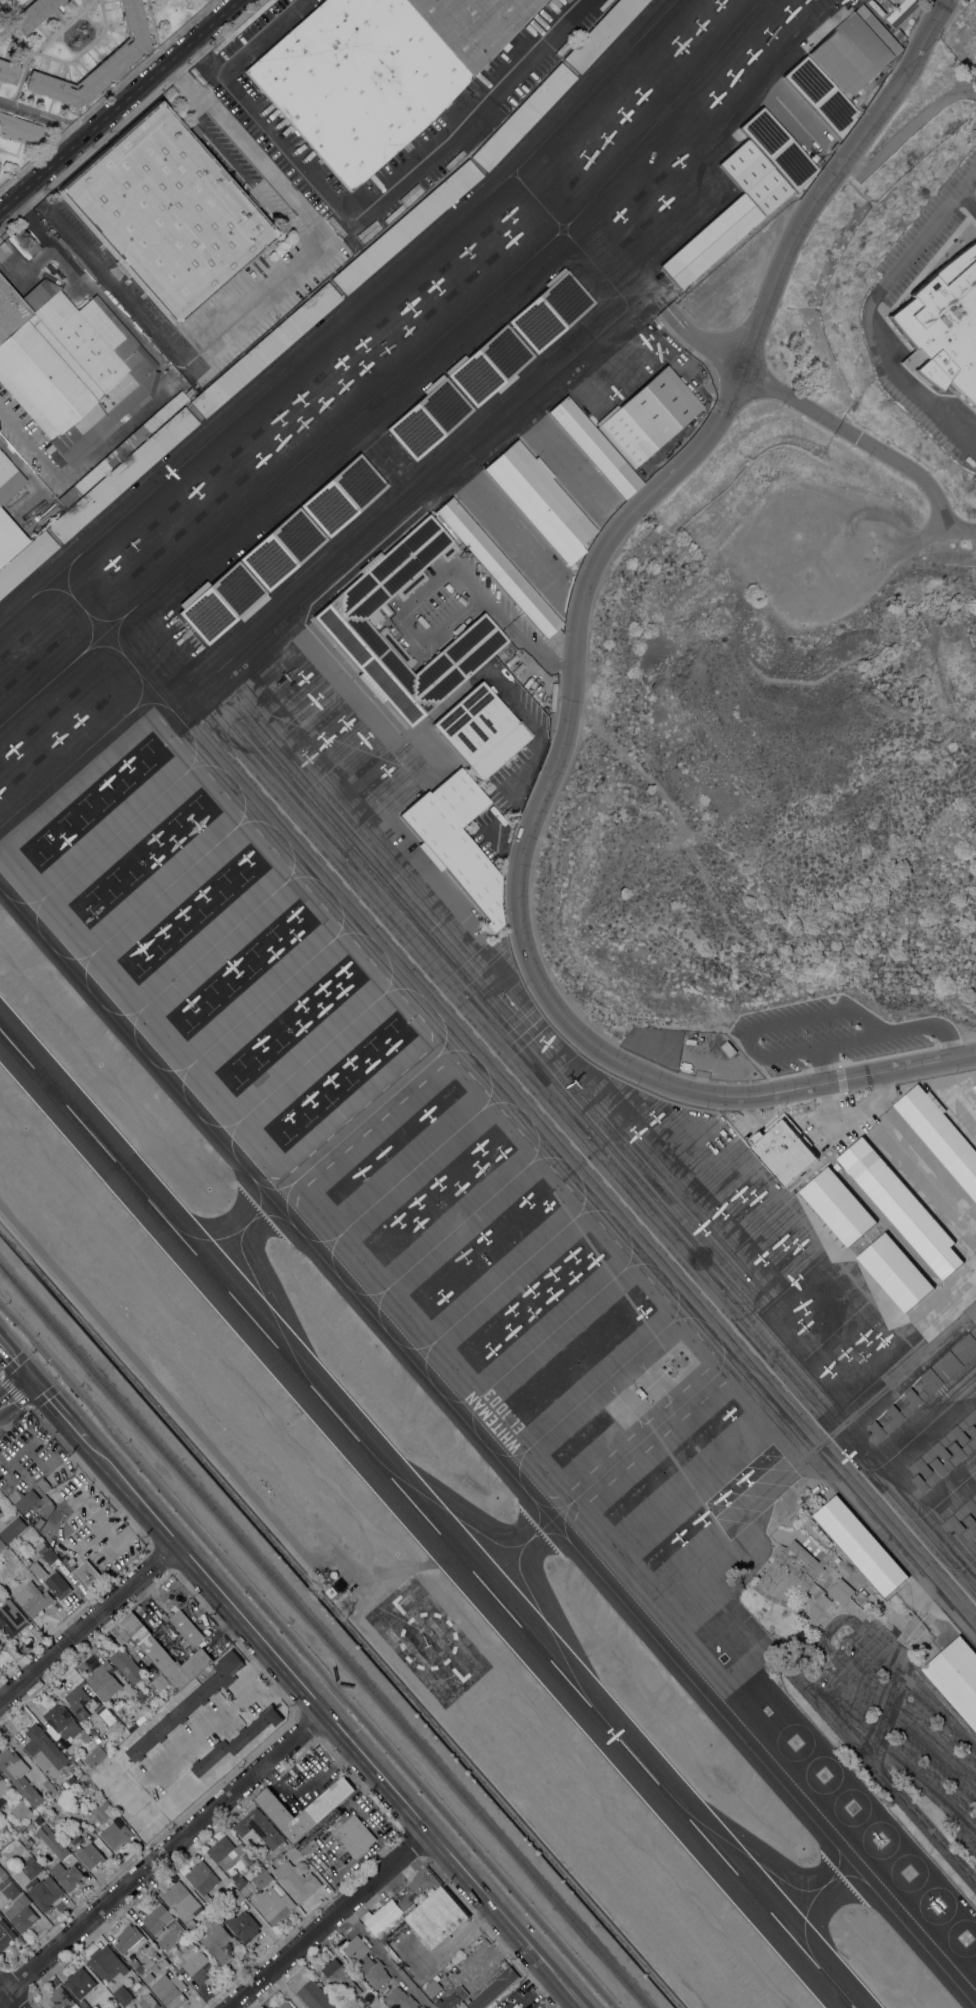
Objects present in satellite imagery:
building: (903, 11)
building: (32, 15)
airport hangar: (601, 33)
building: (601, 33)
building: (900, 34)
airport hangar: (855, 50)
building: (855, 50)
building: (119, 58)
road: (202, 61)
building: (378, 71)
building: (8, 72)
airport hangar: (819, 95)
building: (819, 95)
road: (116, 103)
road: (27, 112)
airport hangar: (521, 118)
building: (521, 118)
road: (67, 129)
building: (19, 130)
building: (301, 145)
airport hangar: (779, 149)
building: (779, 149)
building: (307, 153)
airport hangar: (754, 177)
building: (754, 177)
road: (968, 182)
road: (355, 212)
building: (166, 213)
airport hangar: (406, 227)
building: (406, 227)
airport hangar: (710, 241)
building: (710, 241)
building: (5, 243)
road: (27, 270)
road: (288, 283)
airport hangar: (550, 312)
building: (550, 312)
road: (867, 322)
building: (943, 326)
airport hangar: (265, 349)
building: (265, 349)
building: (66, 364)
airport hangar: (489, 365)
building: (489, 365)
road: (161, 375)
airport hangar: (648, 417)
building: (648, 417)
road: (825, 418)
airport hangar: (429, 419)
building: (429, 419)
airport hangar: (594, 447)
building: (594, 447)
building: (119, 452)
building: (5, 469)
airport hangar: (122, 475)
building: (122, 475)
airport hangar: (342, 496)
building: (342, 496)
airport hangar: (540, 502)
building: (540, 502)
building: (8, 539)
airport hangar: (281, 549)
building: (281, 549)
airport hangar: (25, 561)
building: (25, 561)
airport hangar: (498, 568)
building: (498, 568)
road: (443, 570)
airport hangar: (221, 603)
building: (221, 603)
building: (341, 622)
road: (572, 682)
building: (480, 731)
airport hangar: (456, 840)
building: (456, 840)
airport apron: (215, 854)
building: (470, 906)
road: (921, 1025)
parking lot: (829, 1032)
building: (728, 1048)
road: (781, 1052)
road: (827, 1062)
airport: (499, 1064)
airport hangar: (974, 1086)
building: (974, 1086)
road: (882, 1089)
airport apron: (956, 1102)
airport hangar: (940, 1136)
building: (940, 1136)
building: (783, 1148)
road: (929, 1167)
airport hangar: (837, 1205)
building: (837, 1205)
airport hangar: (900, 1205)
building: (900, 1205)
airport taxiway: (236, 1232)
building: (895, 1271)
road: (15, 1360)
airport hangar: (950, 1361)
building: (950, 1361)
traffic signals: (30, 1378)
road: (13, 1391)
road: (15, 1391)
road: (56, 1408)
airport hangar: (897, 1414)
building: (897, 1414)
airport hangar: (943, 1444)
building: (943, 1444)
airport taxiway: (487, 1450)
airport hangar: (944, 1463)
building: (944, 1463)
building: (43, 1484)
building: (16, 1495)
building: (27, 1500)
airport hangar: (960, 1515)
building: (960, 1515)
airport runway: (426, 1519)
building: (810, 1521)
airport hangar: (970, 1525)
building: (970, 1525)
building: (12, 1529)
building: (2, 1544)
airport hangar: (860, 1545)
building: (860, 1545)
airport taxiway: (514, 1550)
building: (48, 1555)
building: (837, 1559)
building: (792, 1568)
building: (87, 1574)
building: (52, 1580)
building: (336, 1590)
building: (841, 1591)
building: (33, 1599)
building: (814, 1612)
building: (10, 1617)
road: (86, 1624)
building: (134, 1627)
building: (186, 1628)
building: (168, 1630)
railway: (324, 1636)
building: (0, 1645)
road: (307, 1656)
building: (175, 1662)
building: (127, 1665)
airport hangar: (956, 1676)
building: (956, 1676)
building: (104, 1680)
building: (159, 1682)
road: (243, 1696)
building: (78, 1701)
building: (152, 1704)
building: (188, 1704)
building: (105, 1714)
building: (60, 1721)
road: (329, 1724)
parking lot: (899, 1724)
building: (86, 1735)
road: (195, 1737)
building: (257, 1737)
road: (876, 1738)
building: (97, 1739)
building: (237, 1739)
road: (932, 1747)
building: (44, 1749)
building: (94, 1755)
building: (78, 1772)
building: (18, 1775)
building: (71, 1779)
building: (83, 1782)
building: (3, 1789)
road: (925, 1789)
building: (319, 1808)
building: (21, 1810)
building: (38, 1820)
building: (61, 1824)
building: (3, 1828)
building: (56, 1828)
building: (259, 1828)
building: (115, 1834)
building: (353, 1835)
building: (74, 1837)
building: (52, 1840)
building: (309, 1847)
building: (225, 1852)
building: (89, 1855)
road: (159, 1856)
building: (31, 1867)
building: (269, 1867)
building: (2, 1873)
building: (66, 1875)
building: (202, 1879)
building: (238, 1880)
building: (296, 1881)
building: (9, 1887)
building: (419, 1887)
building: (43, 1891)
airport taxiway: (812, 1892)
building: (235, 1895)
building: (268, 1898)
building: (180, 1899)
building: (20, 1912)
building: (381, 1916)
building: (437, 1917)
road: (325, 1920)
building: (163, 1924)
building: (191, 1926)
building: (242, 1926)
helipad: (949, 1928)
building: (5, 1934)
building: (127, 1938)
building: (216, 1941)
building: (389, 1949)
road: (385, 1956)
building: (194, 1961)
building: (366, 1961)
building: (163, 1962)
building: (106, 1963)
building: (141, 1965)
building: (155, 1968)
building: (340, 1977)
building: (147, 1978)
building: (80, 1982)
building: (432, 1987)
building: (494, 1989)
building: (169, 1990)
building: (122, 1995)
building: (315, 1996)
road: (9, 1997)
building: (451, 1998)
building: (62, 1999)
building: (400, 1999)
building: (148, 2002)
building: (84, 2003)
building: (285, 2005)
building: (95, 2006)
building: (116, 2007)

